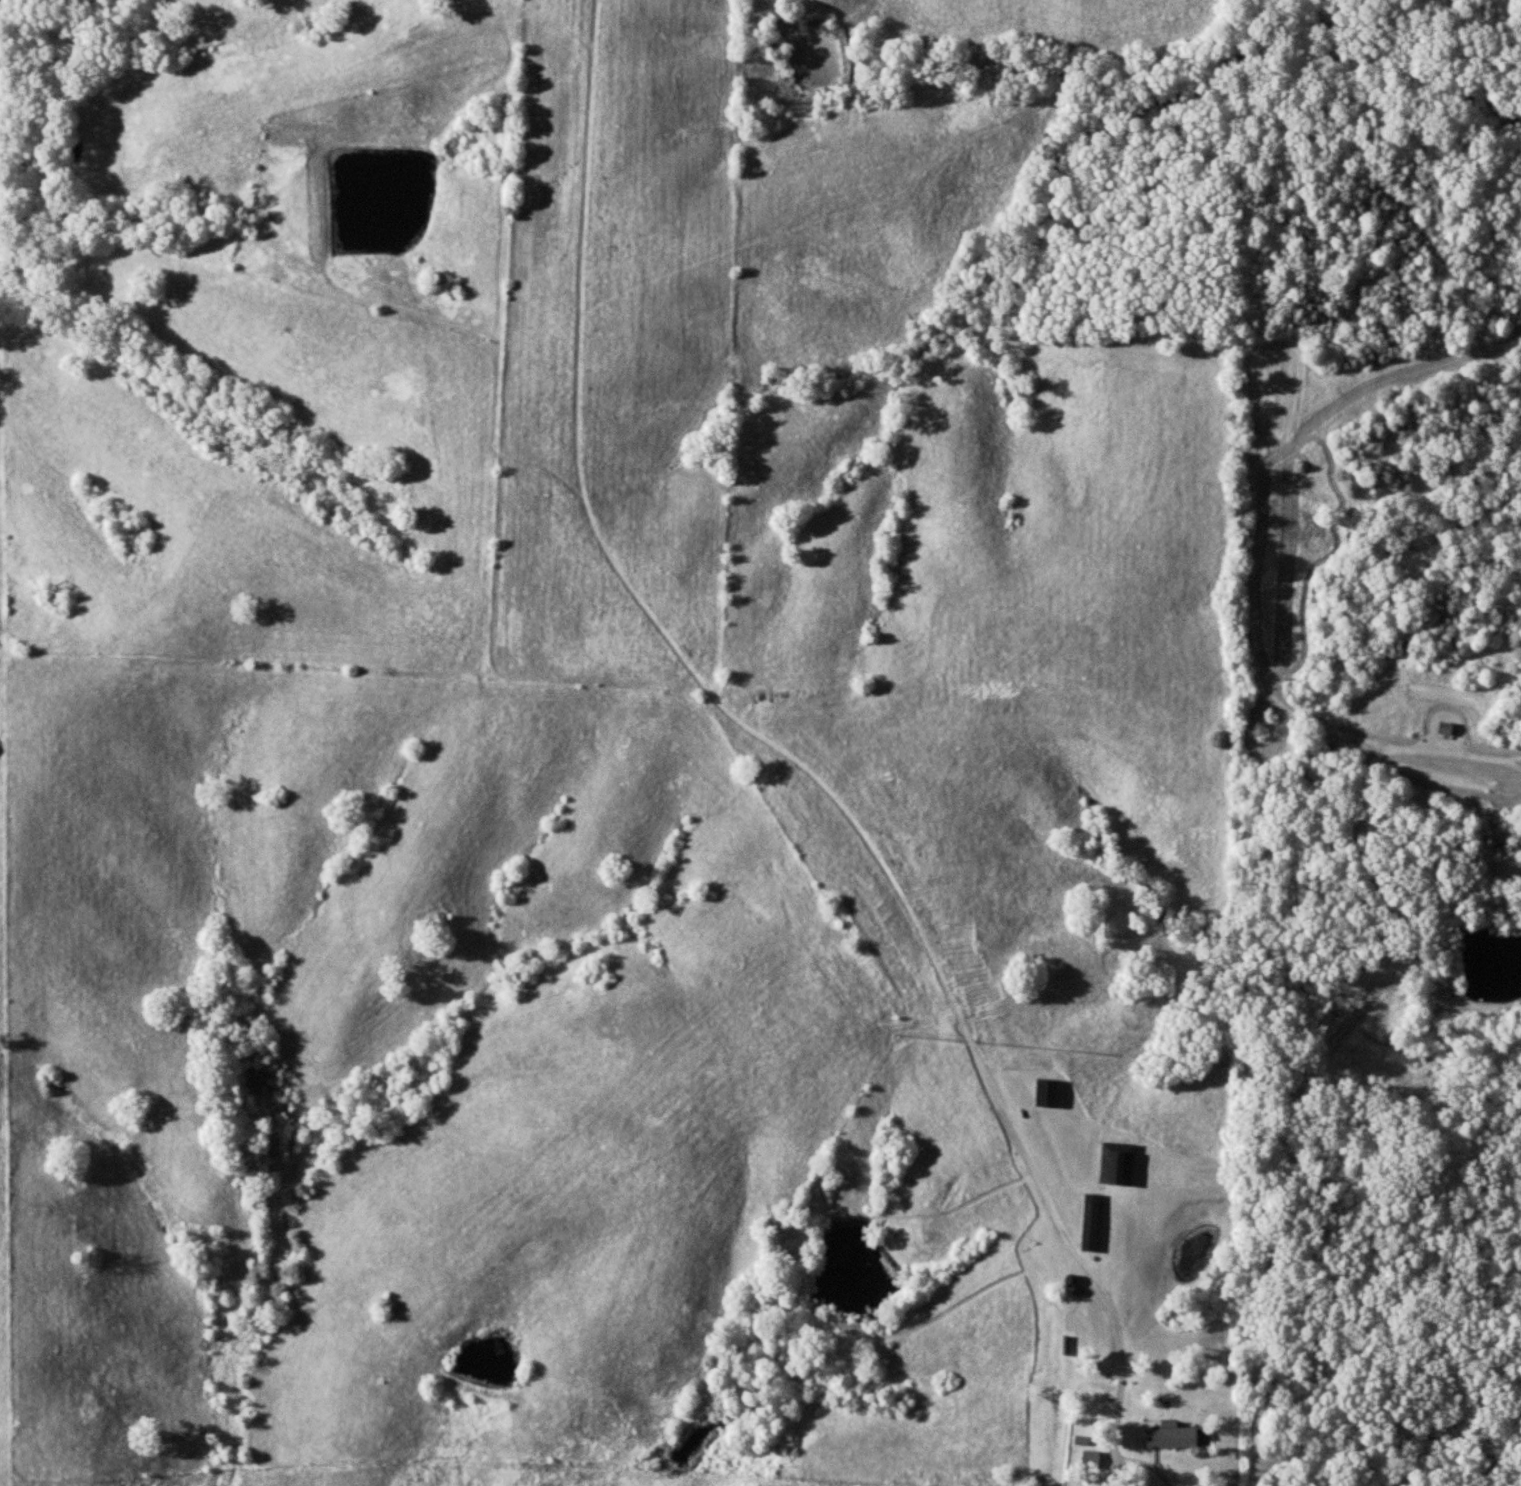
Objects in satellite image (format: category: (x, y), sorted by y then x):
building: (1165, 1437)
road: (1110, 1471)

